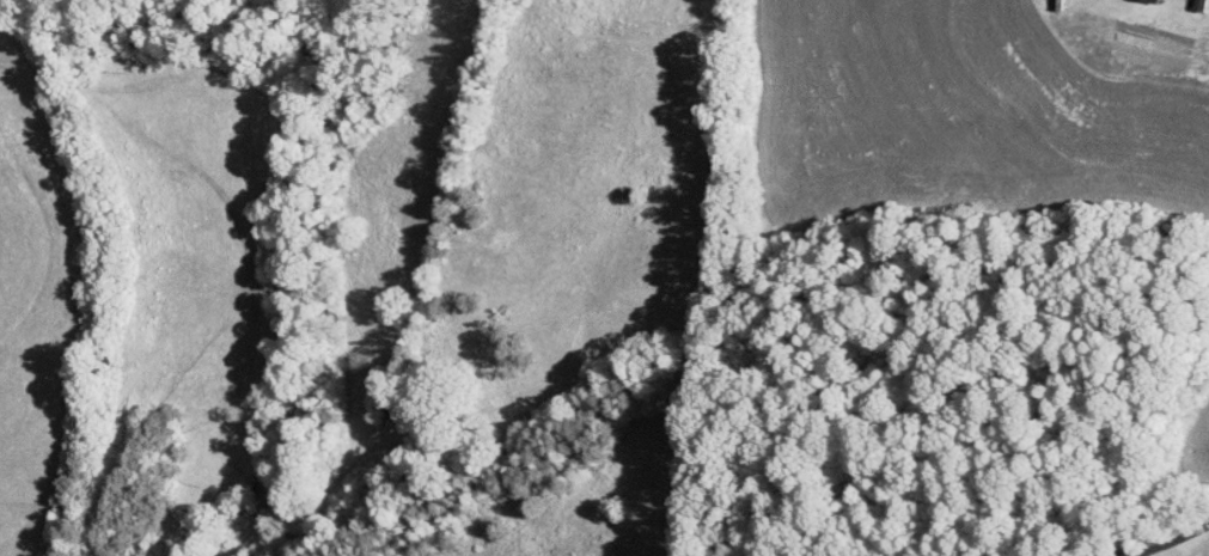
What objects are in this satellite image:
building: (1154, 0)
building: (1198, 4)

